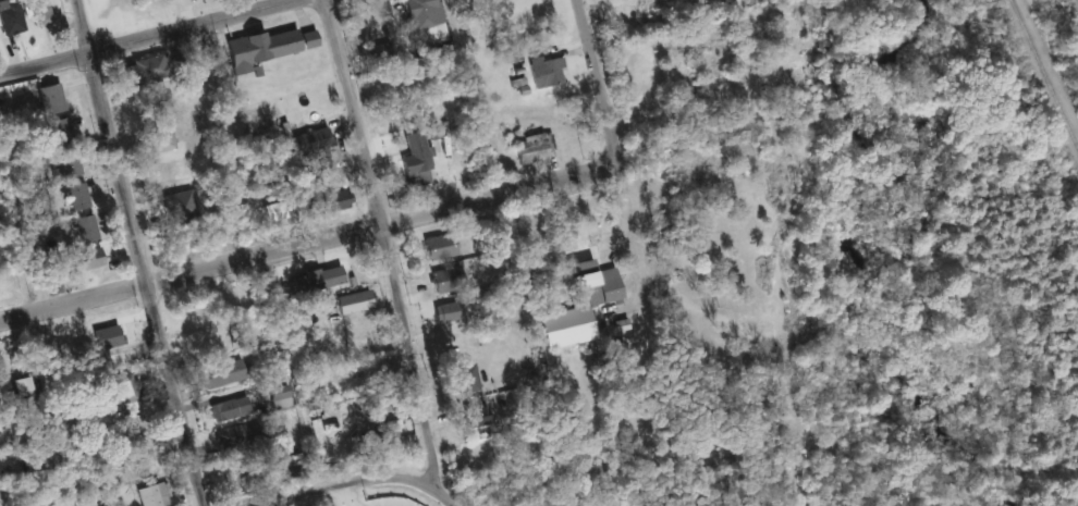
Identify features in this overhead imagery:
building: (38, 10)
building: (426, 21)
building: (364, 22)
building: (10, 23)
road: (145, 38)
building: (267, 47)
building: (370, 52)
building: (145, 71)
building: (544, 72)
railway: (1043, 75)
building: (48, 98)
building: (59, 128)
building: (158, 137)
building: (309, 140)
road: (612, 147)
building: (531, 148)
building: (413, 161)
building: (65, 169)
building: (172, 171)
building: (76, 197)
building: (329, 202)
building: (270, 213)
building: (79, 230)
road: (308, 243)
building: (437, 247)
road: (385, 254)
road: (138, 255)
building: (85, 260)
building: (314, 280)
building: (443, 280)
building: (575, 282)
building: (351, 303)
building: (443, 313)
building: (576, 318)
building: (219, 374)
building: (465, 379)
building: (279, 397)
building: (19, 399)
building: (228, 409)
building: (470, 417)
building: (382, 430)
building: (240, 436)
road: (351, 483)
building: (151, 495)
road: (333, 496)

